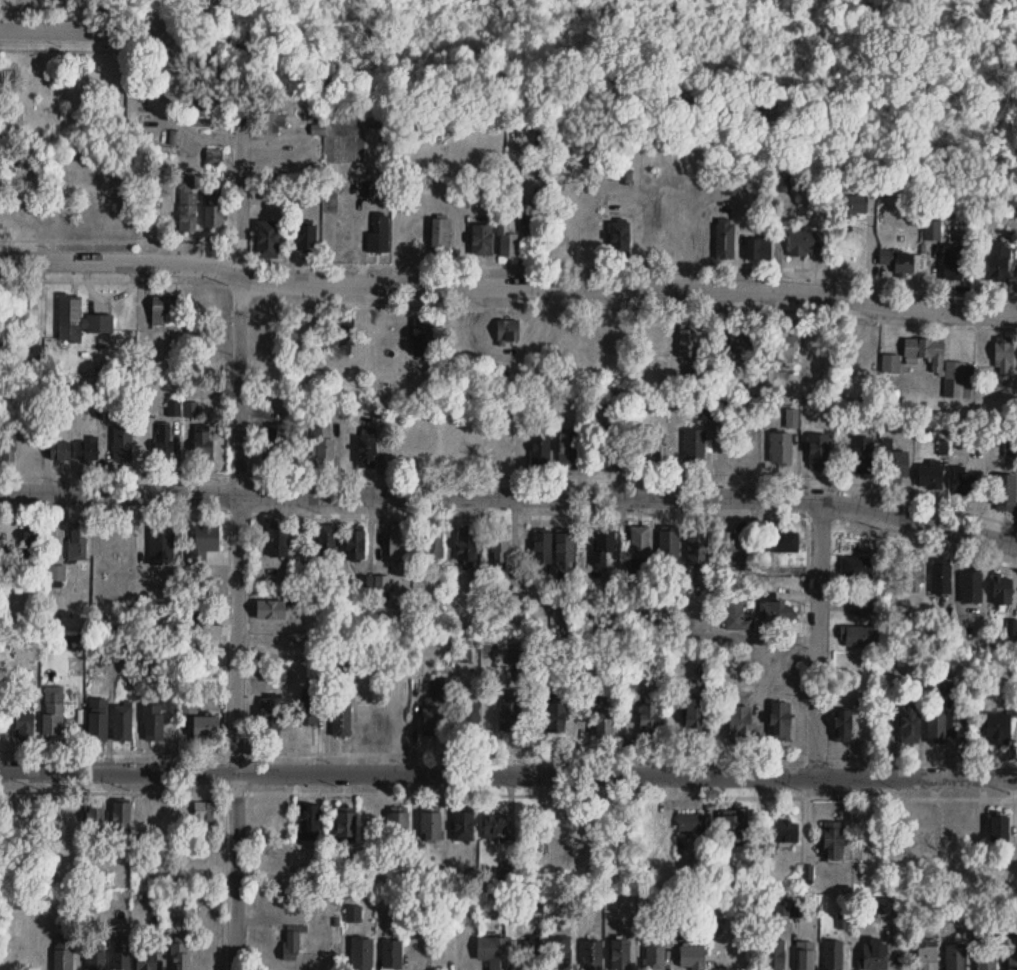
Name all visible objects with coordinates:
road: (78, 30)
building: (206, 114)
building: (272, 119)
building: (514, 174)
building: (782, 183)
building: (187, 203)
building: (853, 206)
building: (214, 211)
building: (932, 230)
building: (379, 234)
building: (440, 234)
building: (306, 237)
road: (114, 238)
building: (508, 238)
building: (619, 238)
building: (655, 238)
building: (267, 239)
building: (725, 239)
building: (482, 240)
building: (805, 243)
building: (759, 250)
building: (899, 262)
building: (953, 263)
building: (998, 263)
road: (634, 266)
road: (128, 279)
road: (507, 285)
road: (633, 307)
building: (165, 310)
building: (27, 314)
building: (79, 320)
building: (508, 331)
building: (421, 337)
building: (687, 345)
building: (742, 345)
building: (782, 348)
building: (927, 352)
building: (1004, 355)
building: (891, 364)
building: (959, 371)
building: (386, 393)
building: (278, 436)
building: (322, 442)
building: (203, 443)
building: (694, 443)
building: (649, 444)
building: (7, 445)
building: (122, 445)
building: (606, 446)
building: (367, 447)
building: (1011, 448)
building: (781, 449)
building: (88, 450)
building: (568, 450)
building: (60, 451)
building: (541, 451)
building: (818, 451)
building: (861, 455)
building: (898, 466)
road: (511, 474)
building: (930, 475)
building: (965, 483)
building: (1005, 492)
road: (511, 494)
road: (511, 515)
road: (237, 536)
building: (32, 539)
building: (207, 539)
building: (326, 539)
building: (300, 540)
building: (278, 541)
building: (78, 542)
building: (399, 542)
building: (640, 542)
building: (782, 542)
building: (112, 543)
building: (354, 545)
building: (433, 545)
building: (669, 545)
building: (732, 545)
building: (698, 547)
building: (467, 548)
building: (542, 548)
building: (565, 548)
building: (601, 548)
building: (500, 549)
building: (859, 567)
building: (915, 570)
building: (57, 576)
building: (942, 576)
building: (971, 587)
building: (1002, 590)
building: (868, 609)
building: (270, 610)
building: (775, 612)
building: (736, 616)
building: (205, 618)
road: (817, 635)
building: (857, 636)
building: (280, 670)
building: (443, 690)
building: (865, 699)
building: (309, 709)
building: (271, 713)
building: (509, 714)
building: (53, 717)
building: (95, 717)
building: (649, 717)
building: (555, 718)
building: (120, 719)
building: (341, 719)
building: (470, 719)
building: (695, 719)
building: (434, 720)
building: (604, 720)
building: (740, 720)
building: (154, 722)
building: (781, 722)
building: (22, 724)
building: (910, 724)
building: (205, 726)
building: (843, 726)
building: (938, 727)
building: (998, 728)
road: (122, 750)
road: (245, 770)
road: (508, 772)
road: (122, 791)
building: (206, 817)
building: (94, 820)
building: (121, 823)
building: (310, 823)
building: (690, 823)
building: (371, 824)
building: (431, 827)
building: (463, 827)
building: (400, 828)
building: (734, 829)
building: (999, 829)
building: (497, 831)
building: (786, 833)
building: (958, 834)
building: (833, 840)
building: (575, 842)
building: (543, 847)
building: (292, 944)
building: (495, 953)
building: (180, 954)
building: (361, 954)
building: (560, 954)
building: (655, 954)
building: (928, 954)
building: (63, 955)
building: (121, 955)
building: (392, 955)
building: (533, 955)
building: (592, 955)
building: (621, 955)
building: (773, 955)
building: (805, 955)
building: (833, 955)
building: (875, 955)
building: (692, 957)
building: (955, 958)
building: (986, 958)
building: (96, 961)
building: (1012, 962)
building: (146, 966)

